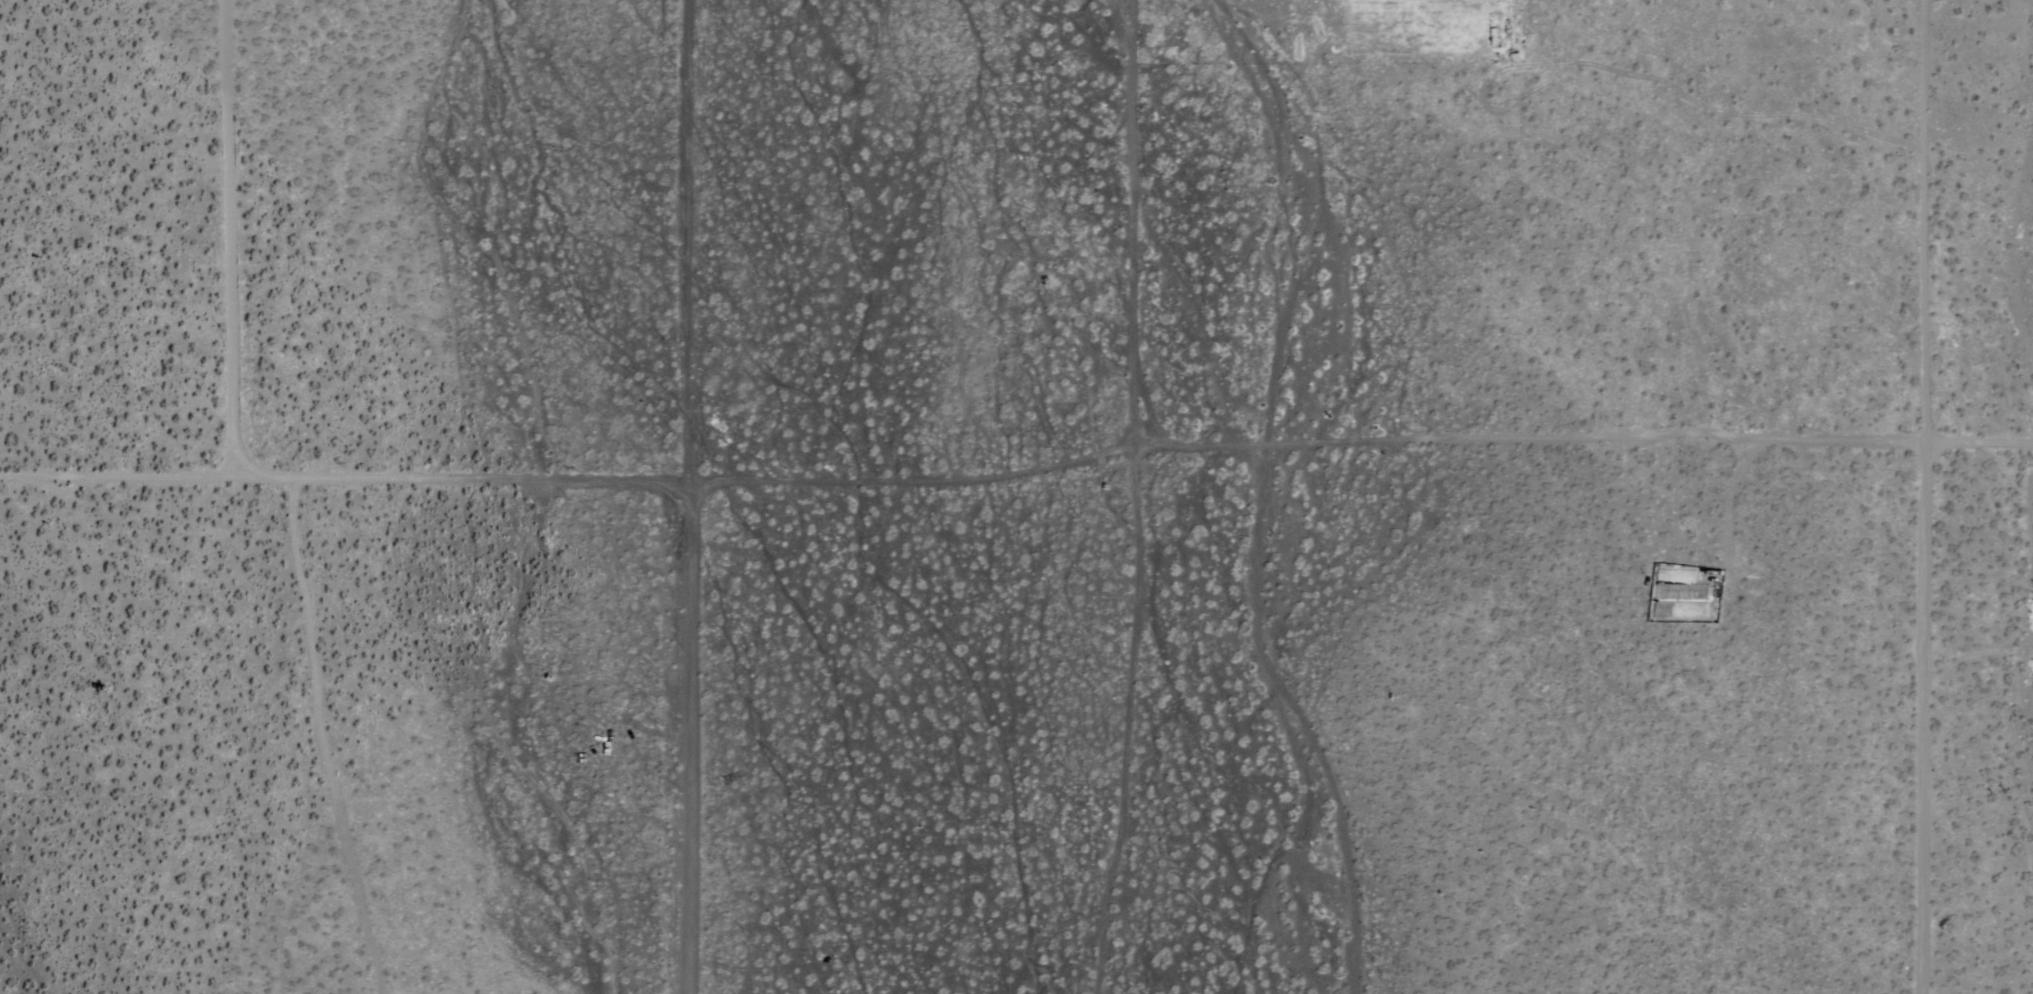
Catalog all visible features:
road: (1131, 228)
road: (220, 235)
road: (1017, 475)
road: (685, 496)
road: (1922, 712)

